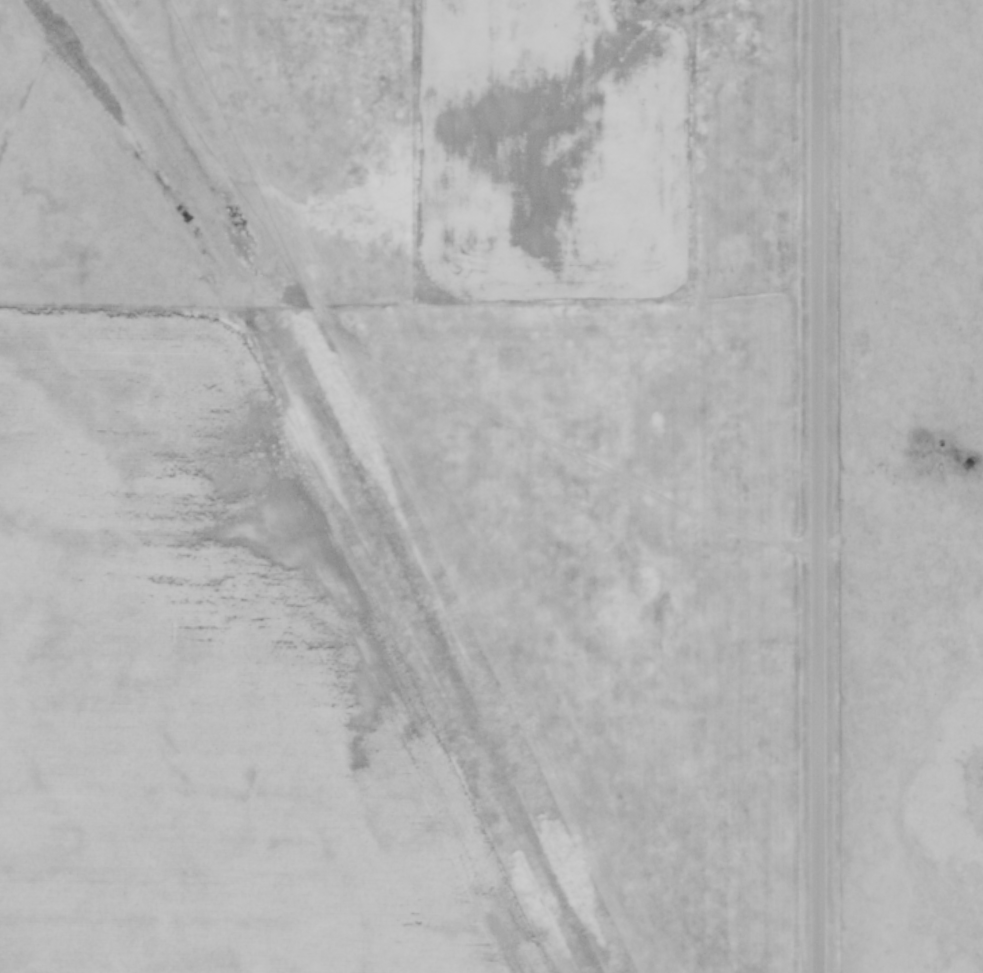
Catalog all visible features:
road: (820, 486)

